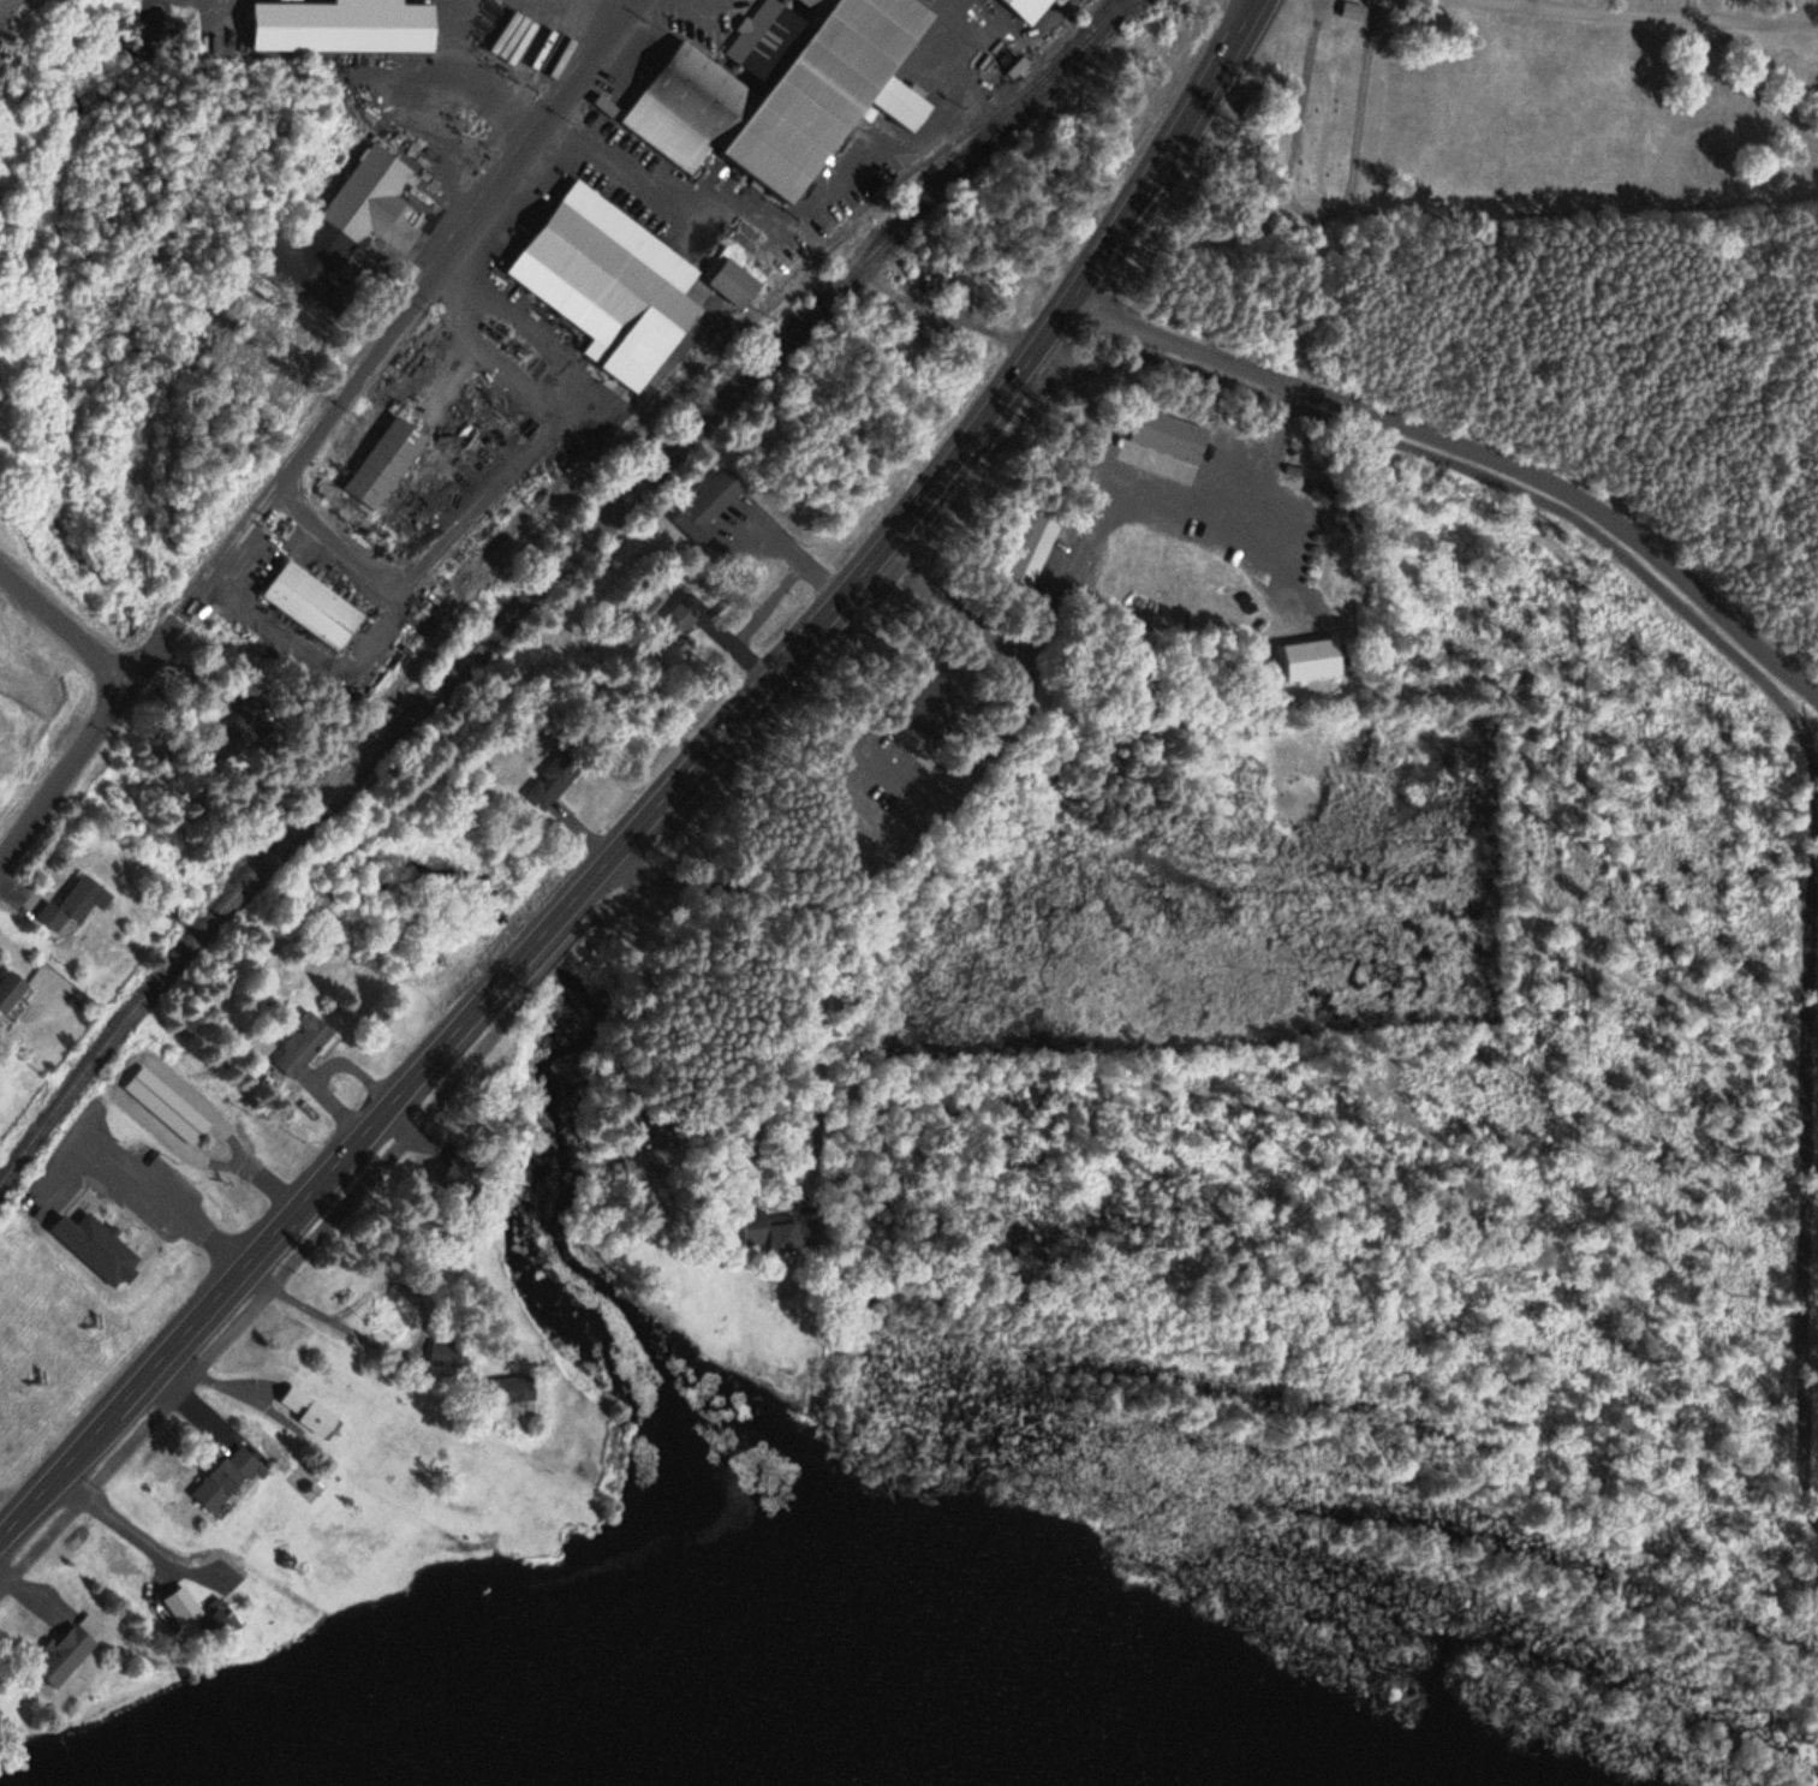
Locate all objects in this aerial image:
road: (1527, 4)
road: (7, 5)
building: (1031, 6)
road: (1709, 10)
park: (1645, 13)
road: (1647, 16)
building: (347, 26)
building: (788, 91)
building: (376, 201)
building: (610, 275)
building: (737, 284)
railway: (663, 393)
road: (324, 428)
road: (1472, 448)
building: (388, 463)
building: (707, 510)
building: (1037, 546)
railway: (548, 582)
building: (315, 606)
building: (680, 619)
road: (65, 626)
building: (1313, 660)
building: (554, 780)
road: (662, 796)
building: (74, 905)
building: (13, 993)
building: (305, 1048)
building: (171, 1106)
road: (1143, 1178)
building: (775, 1234)
building: (100, 1246)
building: (449, 1355)
road: (1277, 1388)
building: (311, 1412)
building: (228, 1480)
building: (225, 1617)
building: (68, 1657)

